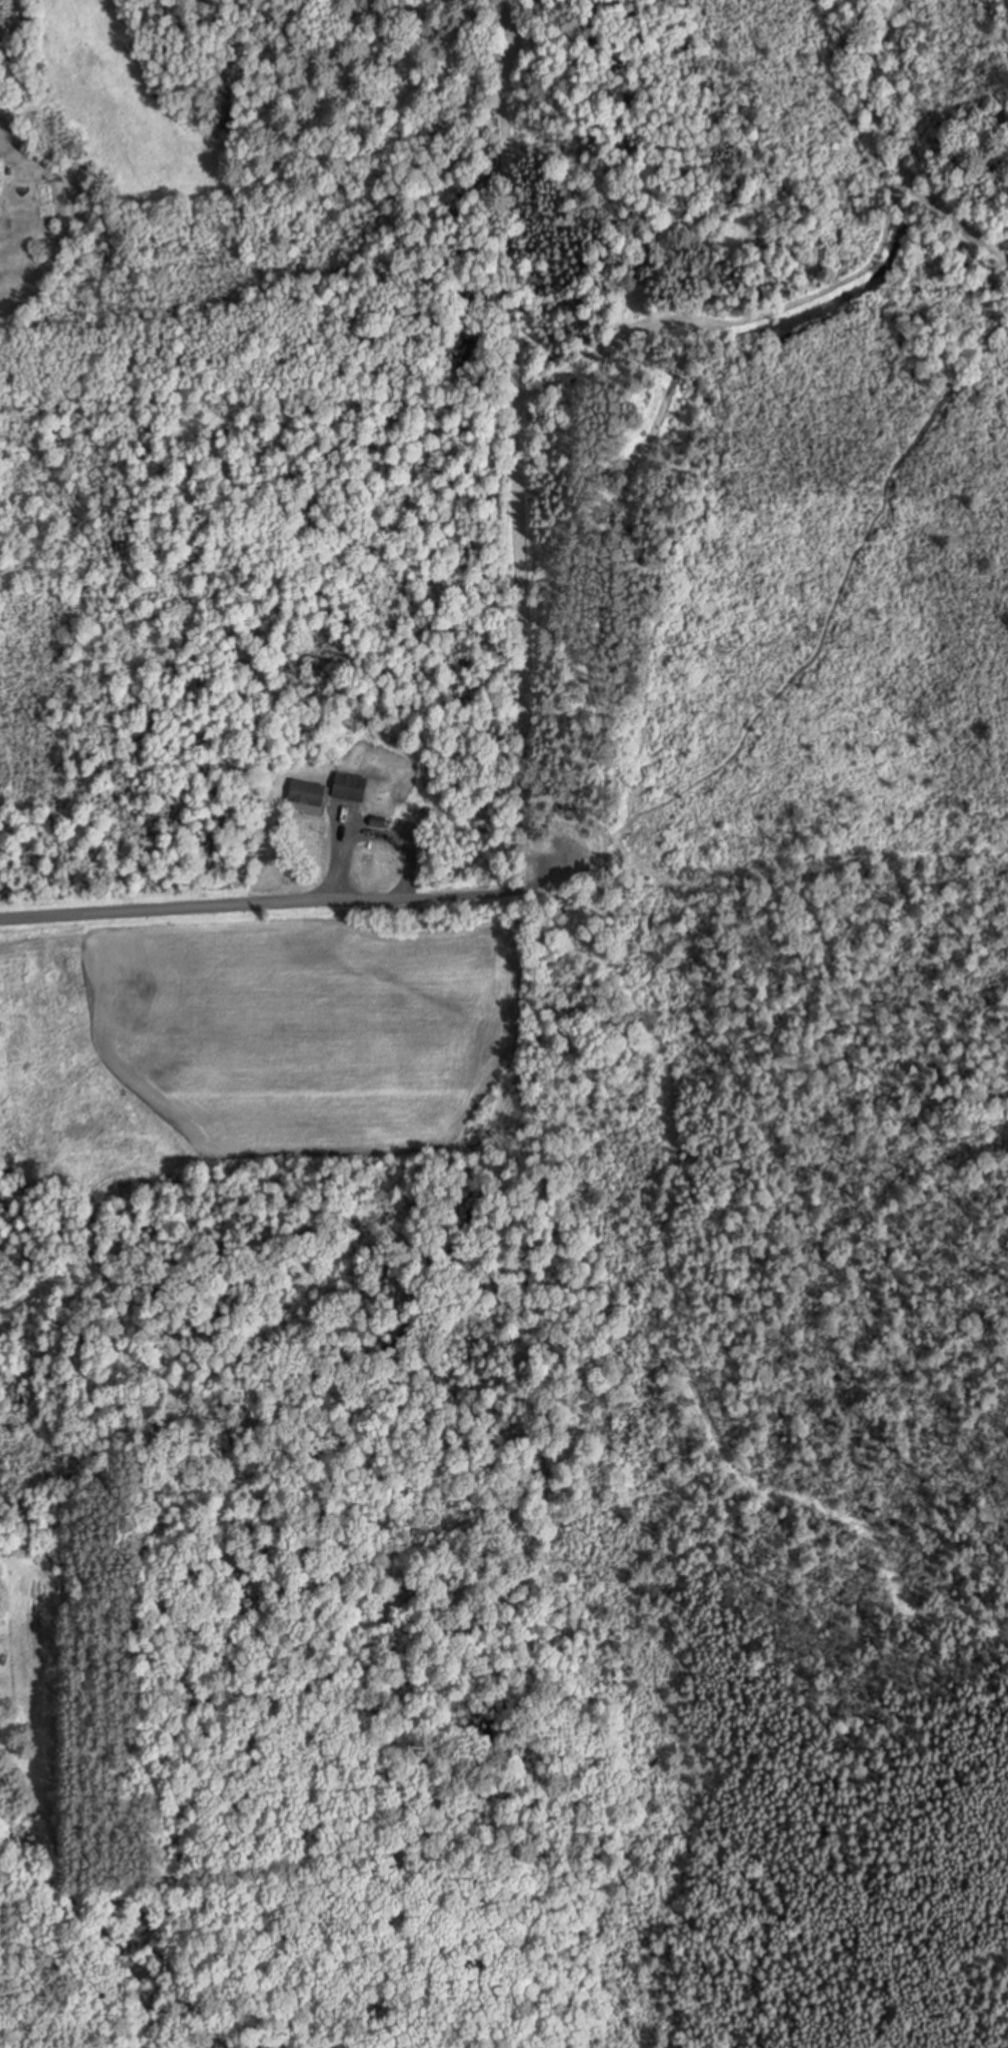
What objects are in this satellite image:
building: (0, 188)
road: (492, 442)
building: (352, 787)
building: (308, 794)
road: (245, 895)

